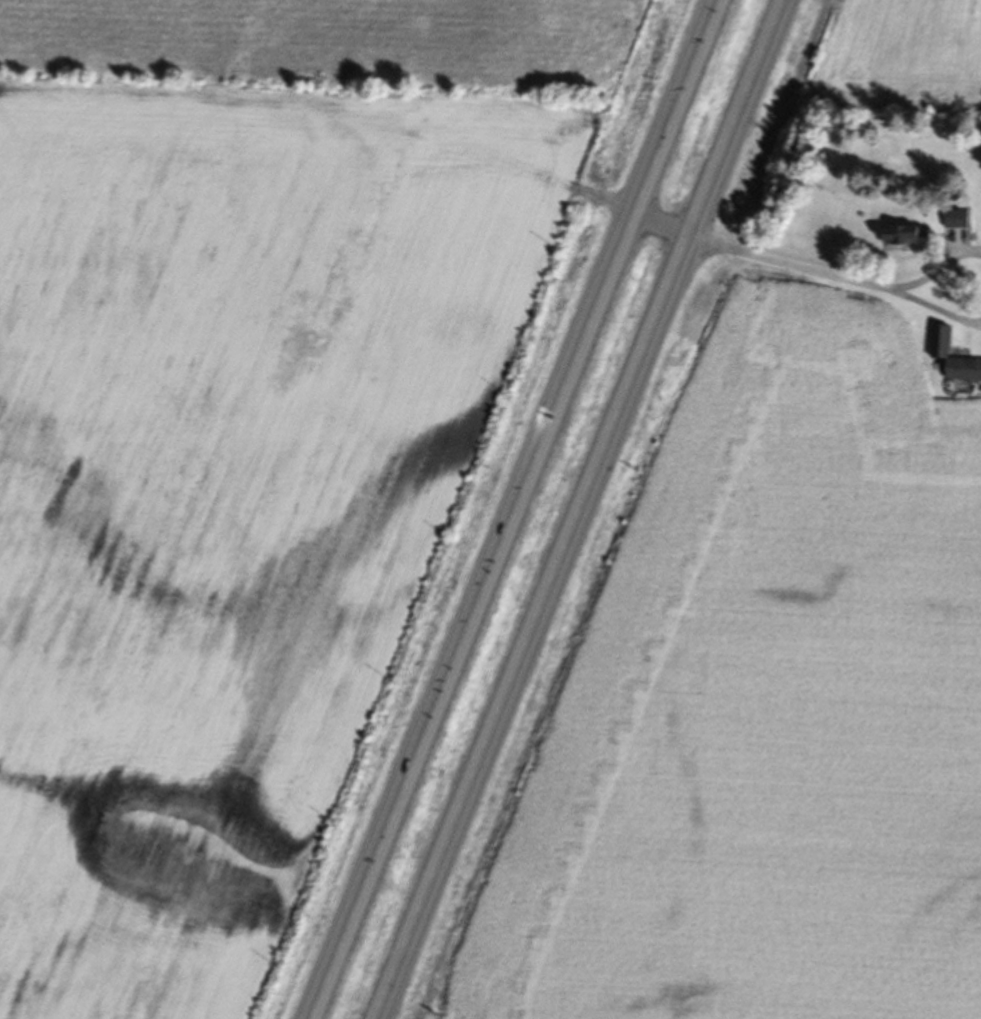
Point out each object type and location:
building: (961, 222)
road: (656, 225)
building: (908, 239)
road: (790, 265)
road: (936, 267)
road: (936, 309)
building: (942, 345)
road: (580, 509)
road: (504, 510)

